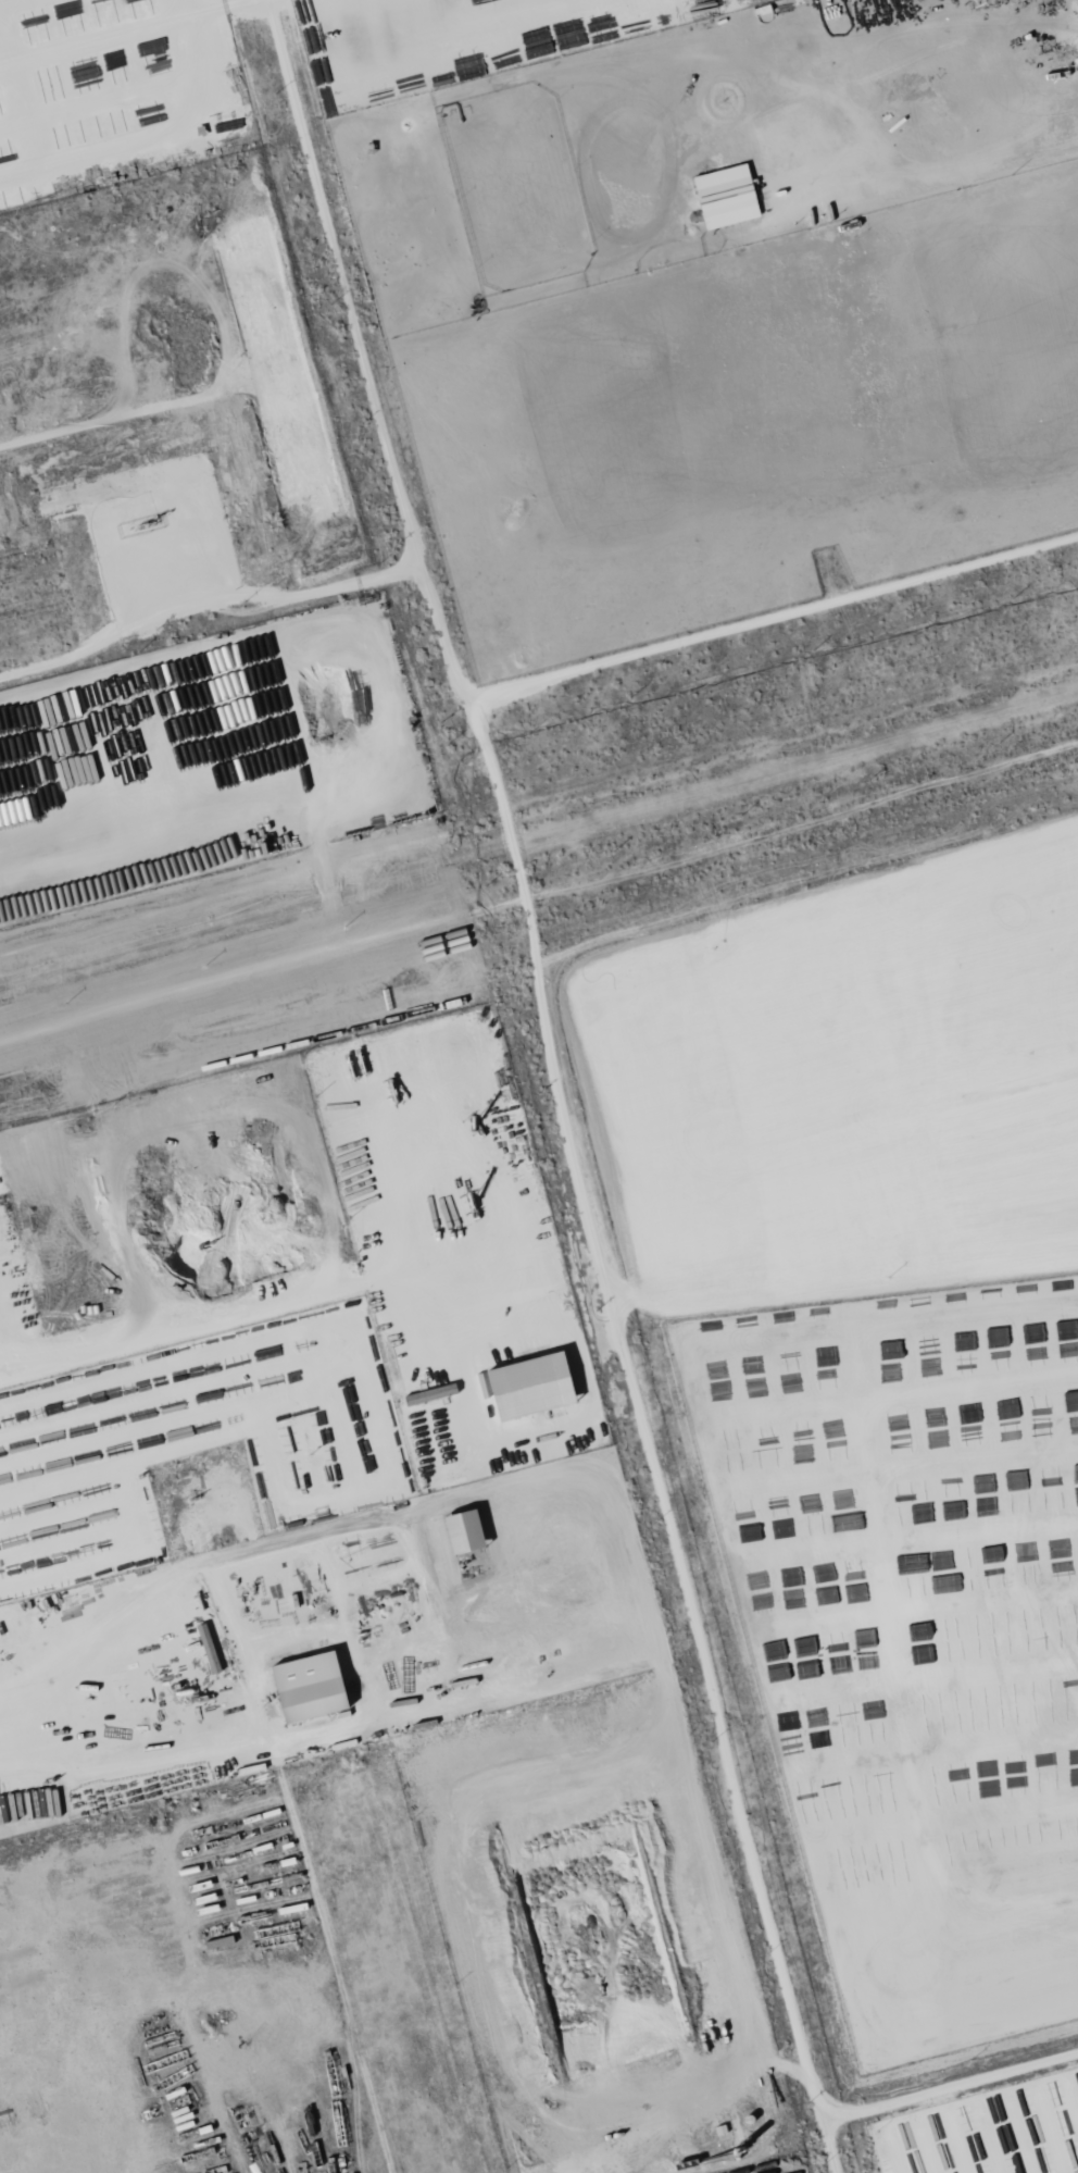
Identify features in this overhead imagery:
building: (727, 197)
road: (449, 656)
road: (235, 1313)
building: (531, 1384)
building: (465, 1531)
road: (73, 1566)
road: (426, 1581)
building: (310, 1686)

